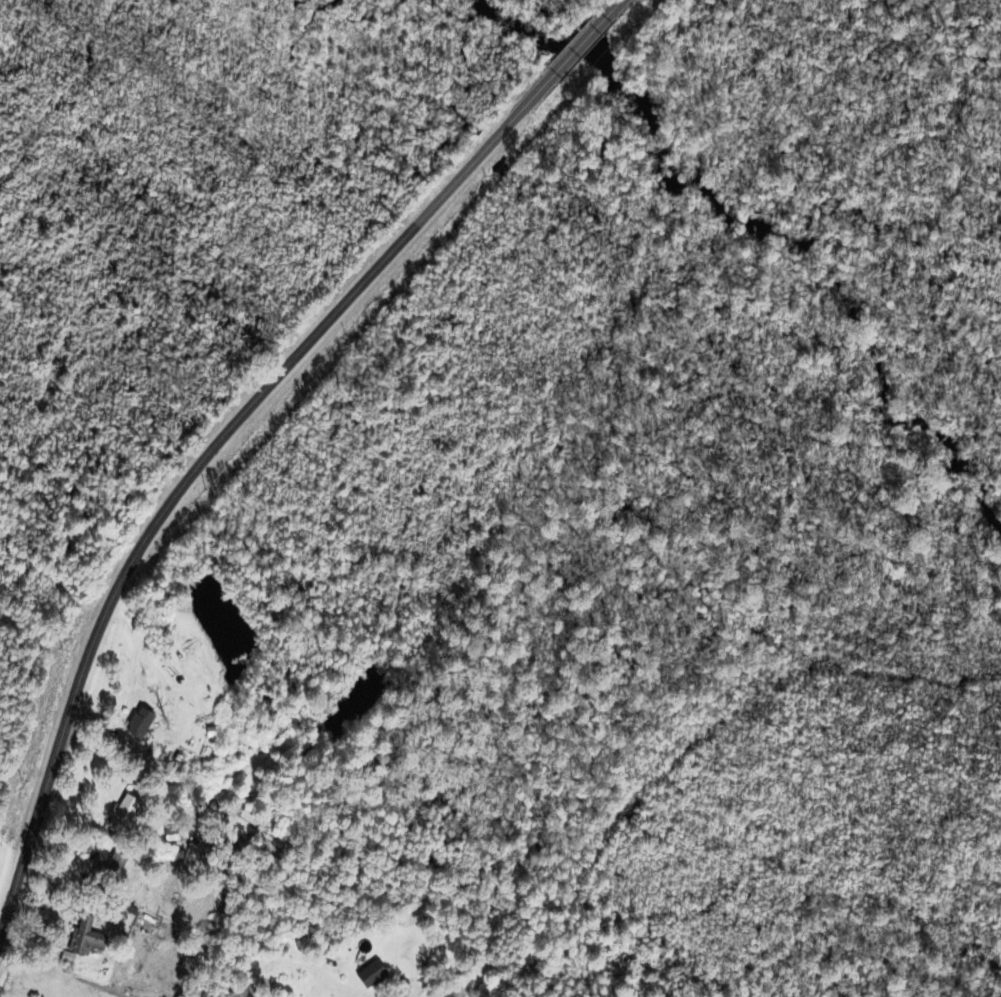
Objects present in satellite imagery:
road: (606, 13)
road: (576, 46)
road: (206, 457)
building: (135, 724)
building: (245, 816)
building: (109, 870)
building: (81, 941)
building: (366, 976)
building: (237, 993)

